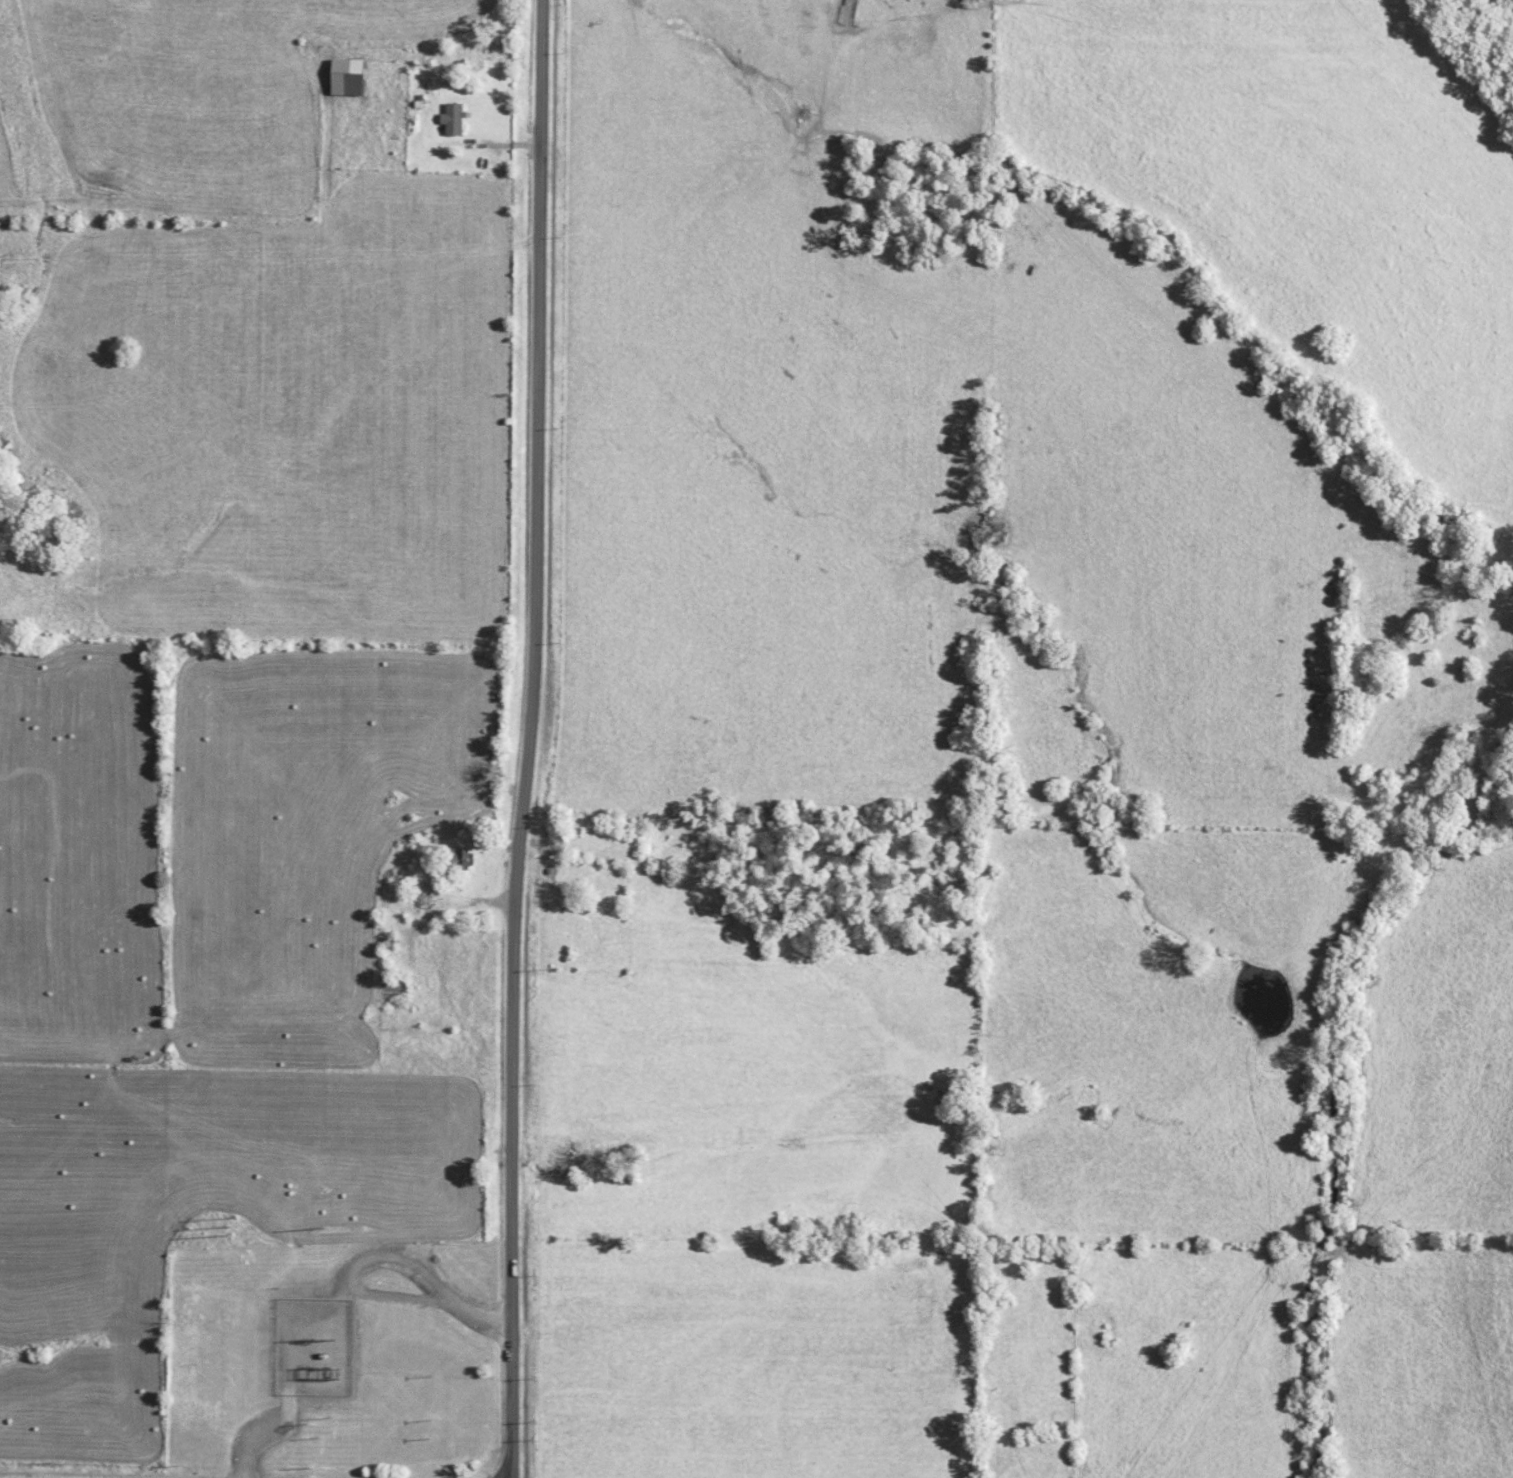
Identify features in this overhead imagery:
building: (346, 77)
building: (452, 119)
road: (533, 739)
building: (458, 861)
building: (422, 898)
power tower: (229, 1227)
power tower: (324, 1339)
power substation: (315, 1346)

